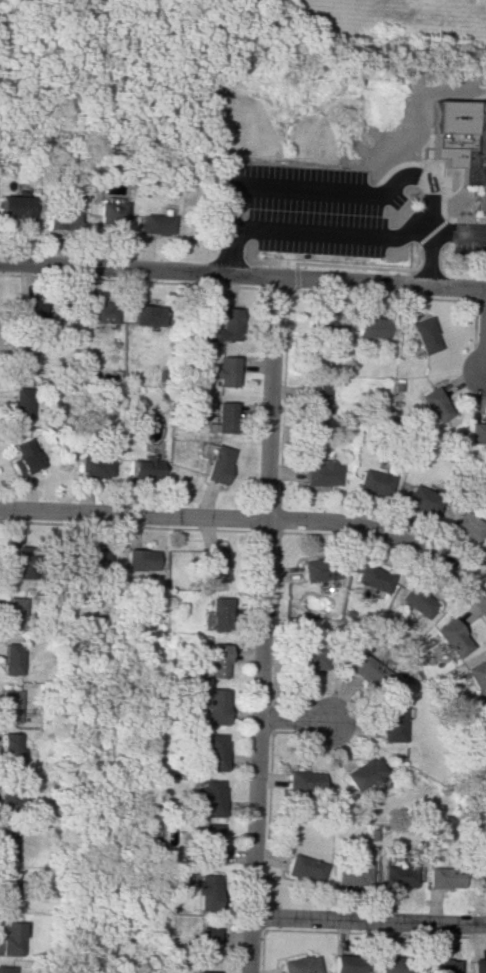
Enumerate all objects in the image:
park: (183, 62)
road: (476, 98)
building: (476, 151)
road: (306, 189)
building: (19, 207)
parking lot: (311, 211)
building: (111, 215)
building: (62, 219)
building: (156, 224)
road: (328, 226)
road: (457, 233)
road: (227, 247)
parking lot: (470, 247)
road: (428, 260)
road: (243, 276)
building: (33, 307)
building: (94, 309)
building: (141, 312)
building: (226, 323)
building: (326, 324)
building: (370, 327)
building: (424, 335)
road: (484, 350)
building: (20, 358)
building: (224, 372)
building: (314, 397)
building: (22, 403)
building: (433, 405)
building: (222, 416)
building: (476, 432)
building: (23, 459)
building: (93, 464)
building: (216, 464)
building: (143, 465)
building: (320, 473)
building: (370, 481)
building: (419, 498)
road: (132, 513)
building: (463, 523)
road: (387, 535)
building: (485, 550)
building: (18, 553)
building: (90, 556)
building: (139, 557)
building: (212, 562)
building: (315, 569)
building: (369, 577)
building: (412, 599)
building: (215, 611)
building: (12, 613)
road: (261, 625)
building: (449, 637)
building: (305, 657)
building: (12, 659)
building: (209, 662)
building: (361, 668)
building: (474, 676)
building: (10, 706)
building: (208, 706)
building: (484, 707)
road: (293, 718)
building: (388, 721)
building: (208, 750)
building: (8, 752)
building: (359, 772)
building: (300, 779)
building: (209, 795)
building: (8, 797)
building: (6, 843)
building: (209, 844)
building: (302, 868)
building: (395, 873)
building: (348, 874)
building: (481, 874)
building: (441, 877)
building: (6, 888)
building: (203, 891)
road: (368, 921)
building: (7, 939)
building: (206, 945)
building: (346, 963)
building: (392, 963)
building: (296, 964)
building: (438, 964)
building: (477, 965)
building: (5, 970)
building: (202, 971)

